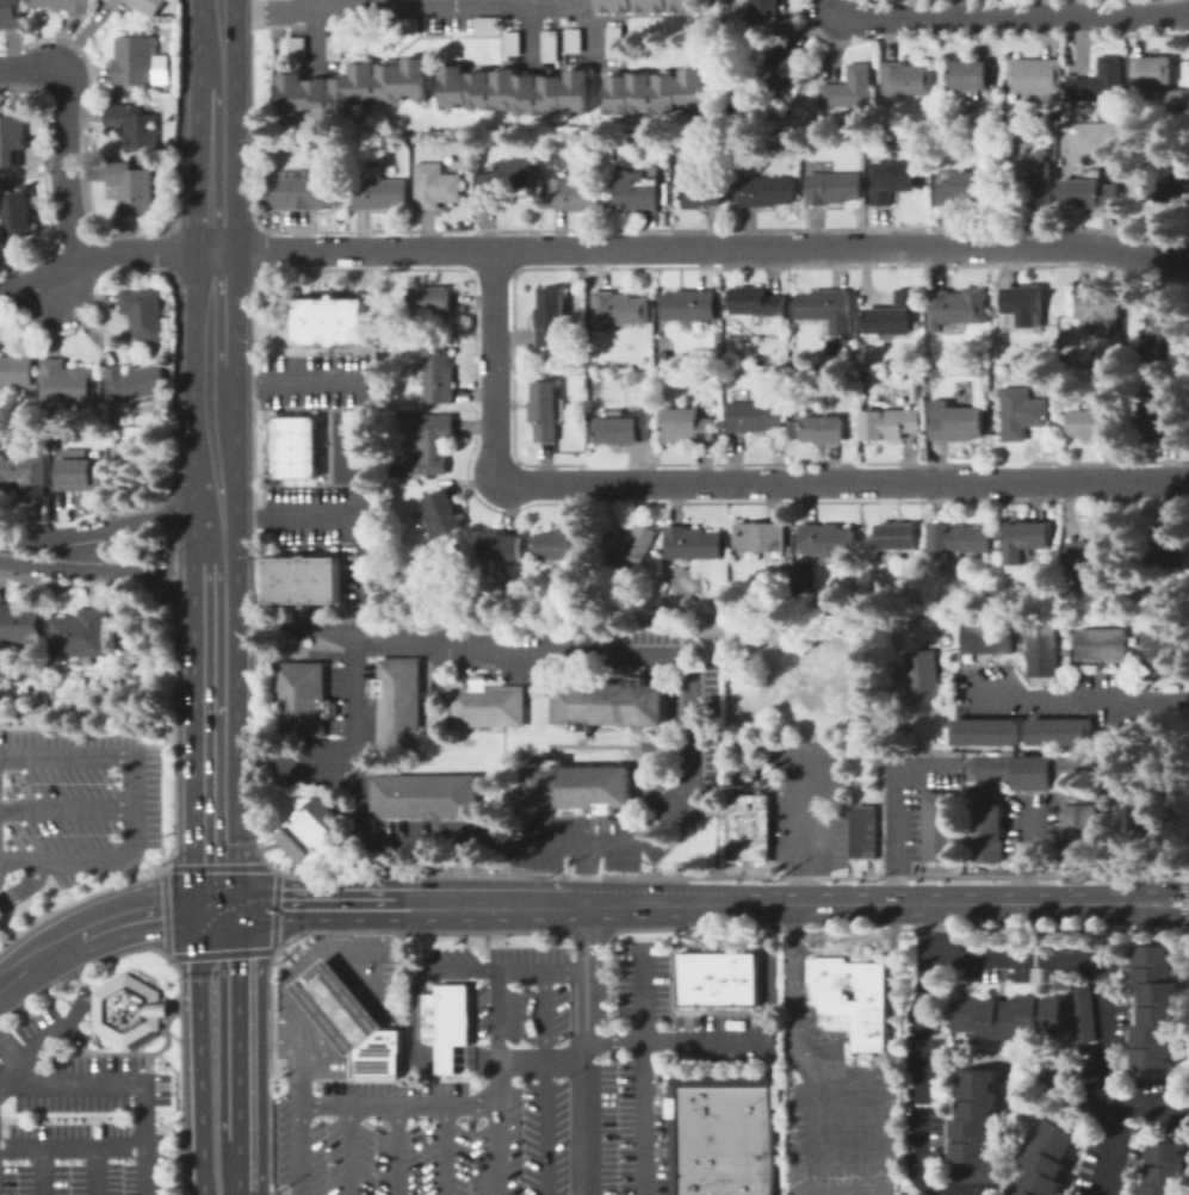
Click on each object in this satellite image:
building: (66, 5)
building: (141, 5)
building: (646, 5)
road: (427, 6)
building: (767, 7)
building: (11, 13)
road: (1005, 17)
road: (218, 18)
building: (407, 23)
building: (485, 23)
road: (531, 35)
road: (311, 37)
building: (572, 39)
building: (614, 41)
building: (650, 41)
building: (513, 42)
building: (550, 44)
building: (333, 47)
building: (296, 48)
building: (137, 62)
building: (781, 67)
building: (1153, 72)
building: (970, 75)
building: (1035, 76)
building: (906, 80)
building: (1101, 82)
building: (352, 86)
building: (850, 88)
building: (515, 89)
building: (654, 89)
building: (1179, 100)
building: (136, 125)
building: (1007, 129)
road: (66, 132)
building: (797, 136)
building: (12, 140)
road: (217, 143)
building: (1162, 177)
building: (893, 180)
building: (1034, 180)
building: (504, 181)
building: (7, 185)
building: (435, 186)
building: (134, 187)
building: (834, 187)
building: (766, 188)
building: (965, 190)
building: (301, 192)
building: (380, 193)
building: (638, 193)
building: (704, 193)
building: (1090, 193)
building: (576, 194)
building: (18, 213)
road: (590, 248)
road: (51, 289)
building: (431, 302)
building: (756, 302)
building: (688, 305)
building: (1024, 305)
building: (956, 308)
building: (826, 309)
building: (1101, 309)
building: (619, 310)
building: (145, 314)
building: (892, 316)
building: (551, 318)
building: (332, 321)
building: (1169, 336)
building: (837, 347)
road: (215, 358)
building: (171, 361)
building: (17, 371)
building: (935, 371)
building: (638, 374)
building: (439, 377)
road: (287, 379)
building: (134, 383)
building: (66, 384)
building: (1048, 384)
building: (917, 394)
building: (545, 411)
building: (1165, 411)
building: (1022, 413)
building: (753, 416)
building: (357, 419)
building: (891, 423)
building: (958, 423)
building: (1096, 425)
building: (686, 426)
building: (625, 428)
building: (823, 428)
building: (429, 441)
building: (296, 447)
building: (23, 475)
building: (80, 475)
road: (730, 482)
building: (442, 514)
road: (329, 515)
building: (411, 516)
road: (114, 524)
building: (404, 524)
building: (422, 531)
building: (761, 537)
building: (897, 537)
building: (961, 539)
building: (1024, 539)
building: (828, 541)
building: (1001, 543)
building: (563, 544)
building: (693, 544)
building: (500, 546)
building: (631, 546)
building: (1169, 546)
building: (1098, 549)
road: (213, 557)
road: (123, 570)
building: (800, 572)
building: (304, 581)
building: (786, 588)
building: (943, 607)
building: (668, 611)
building: (19, 624)
building: (985, 636)
building: (80, 637)
building: (1097, 642)
building: (1040, 649)
building: (1157, 649)
road: (605, 655)
building: (919, 675)
road: (1075, 699)
building: (303, 700)
building: (606, 702)
building: (397, 704)
building: (483, 705)
building: (54, 720)
building: (983, 730)
building: (1059, 730)
road: (312, 757)
road: (213, 774)
road: (359, 786)
building: (574, 786)
building: (426, 797)
parking lot: (76, 803)
road: (894, 804)
road: (132, 807)
road: (66, 809)
road: (1033, 810)
building: (1142, 817)
building: (984, 821)
road: (804, 823)
building: (1084, 824)
building: (941, 826)
building: (309, 828)
building: (749, 828)
building: (859, 830)
road: (552, 842)
road: (1032, 855)
road: (24, 885)
road: (1169, 892)
road: (305, 902)
road: (859, 902)
traffic signals: (215, 903)
road: (483, 904)
road: (144, 909)
building: (0, 912)
road: (1168, 912)
road: (587, 924)
road: (49, 946)
road: (1085, 964)
building: (708, 968)
road: (11, 972)
road: (463, 972)
road: (541, 972)
building: (747, 979)
road: (308, 983)
building: (707, 993)
road: (309, 1005)
building: (335, 1005)
gas station: (335, 1005)
building: (853, 1008)
building: (1156, 1008)
road: (351, 1009)
building: (129, 1010)
building: (1084, 1015)
road: (497, 1016)
building: (1010, 1016)
road: (237, 1018)
road: (415, 1020)
building: (444, 1022)
road: (355, 1036)
road: (744, 1041)
road: (41, 1044)
road: (198, 1047)
road: (799, 1048)
road: (10, 1050)
road: (923, 1054)
building: (376, 1055)
road: (442, 1059)
road: (476, 1059)
road: (541, 1060)
road: (586, 1069)
road: (644, 1071)
road: (0, 1083)
road: (126, 1083)
road: (546, 1083)
parking lot: (525, 1084)
road: (843, 1097)
building: (723, 1103)
road: (398, 1107)
parking lot: (80, 1113)
road: (1121, 1121)
road: (497, 1127)
building: (977, 1128)
building: (723, 1139)
road: (73, 1146)
road: (301, 1150)
road: (351, 1151)
road: (395, 1151)
road: (445, 1151)
road: (843, 1156)
building: (722, 1157)
building: (1048, 1160)
road: (237, 1168)
building: (1165, 1169)
road: (97, 1170)
road: (43, 1171)
building: (722, 1175)
road: (197, 1179)
road: (246, 1182)
building: (720, 1189)
building: (923, 1194)

